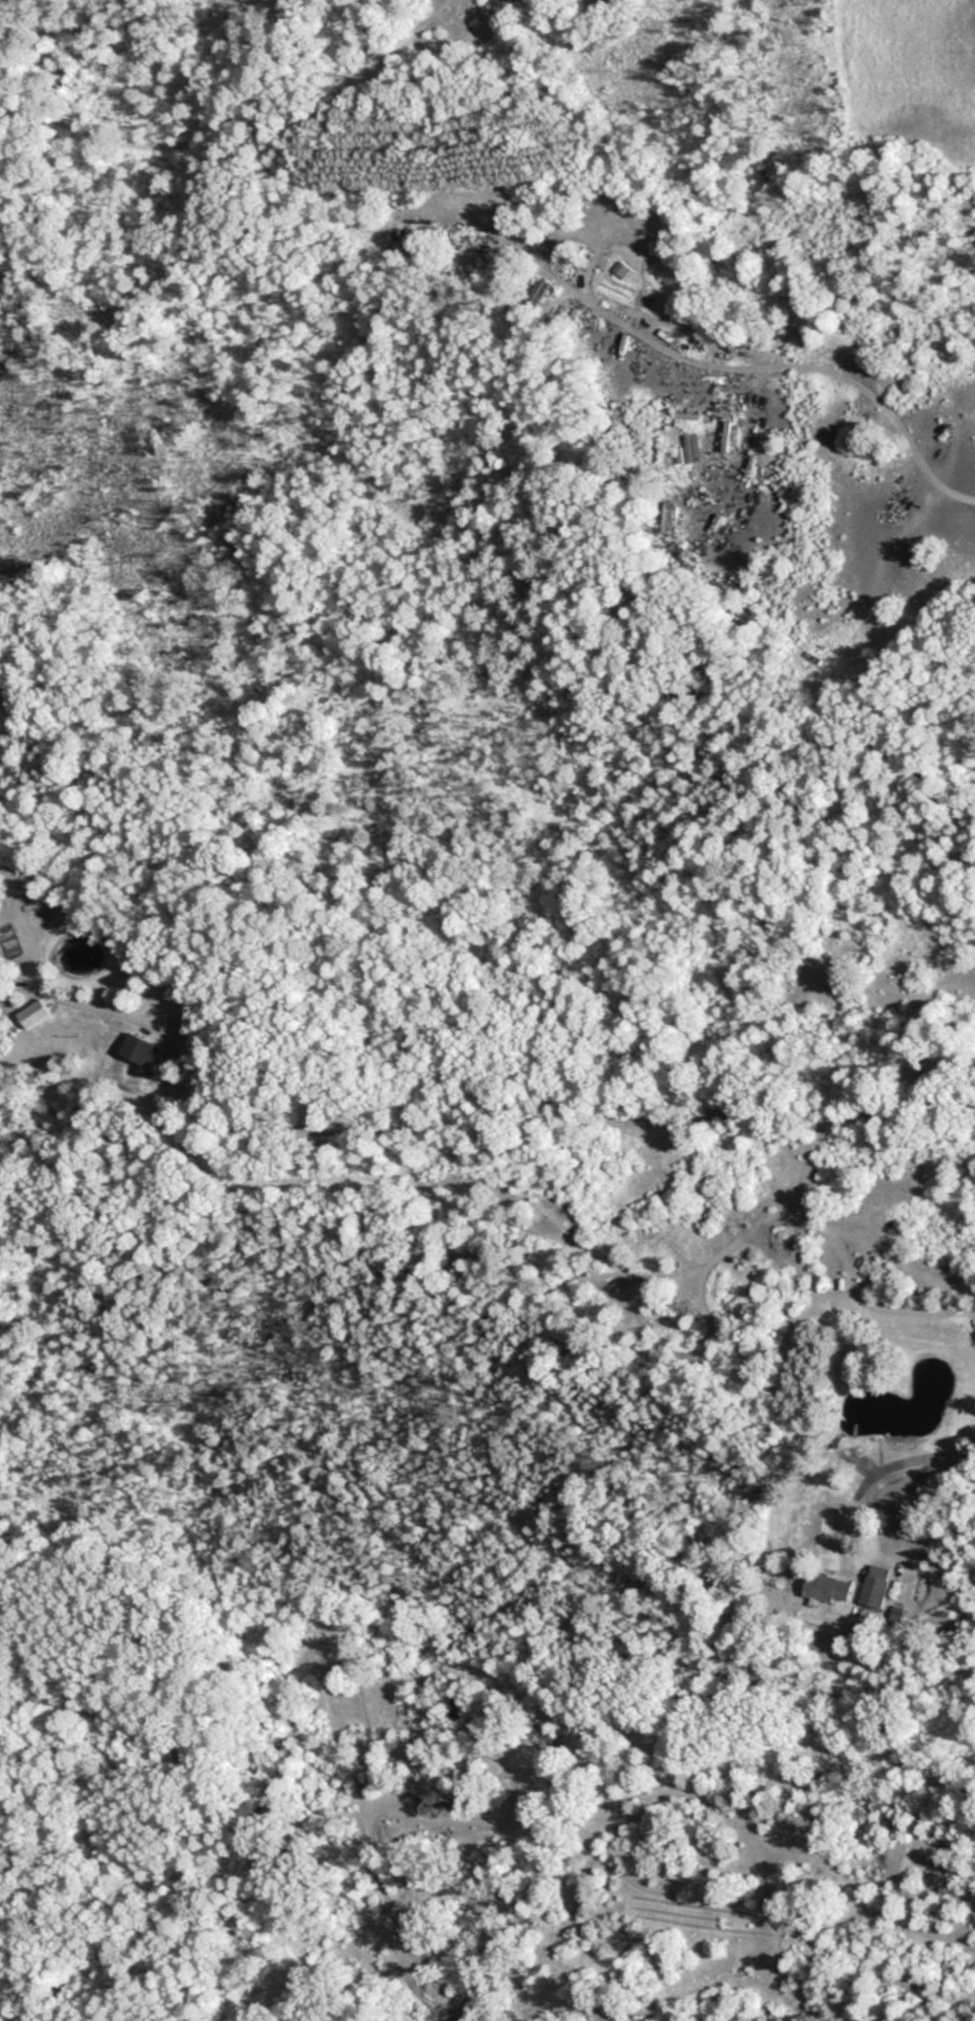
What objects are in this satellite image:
building: (541, 293)
building: (37, 1013)
building: (142, 1048)
road: (906, 1473)
building: (876, 1585)
building: (830, 1588)
road: (588, 1835)

